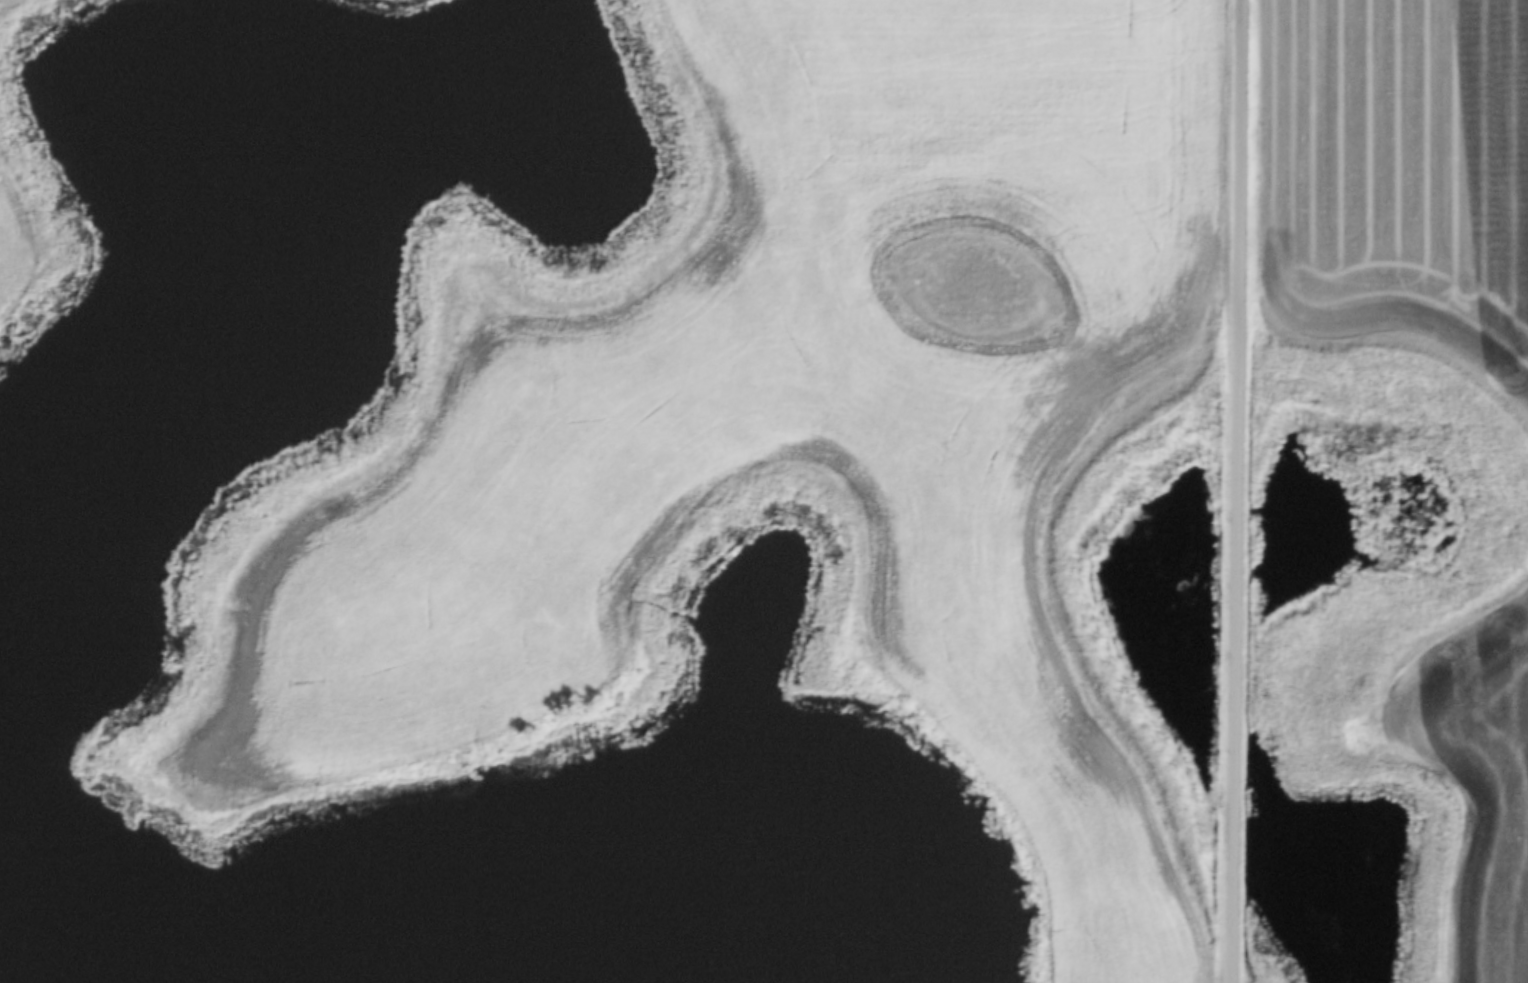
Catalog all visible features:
road: (1248, 491)

